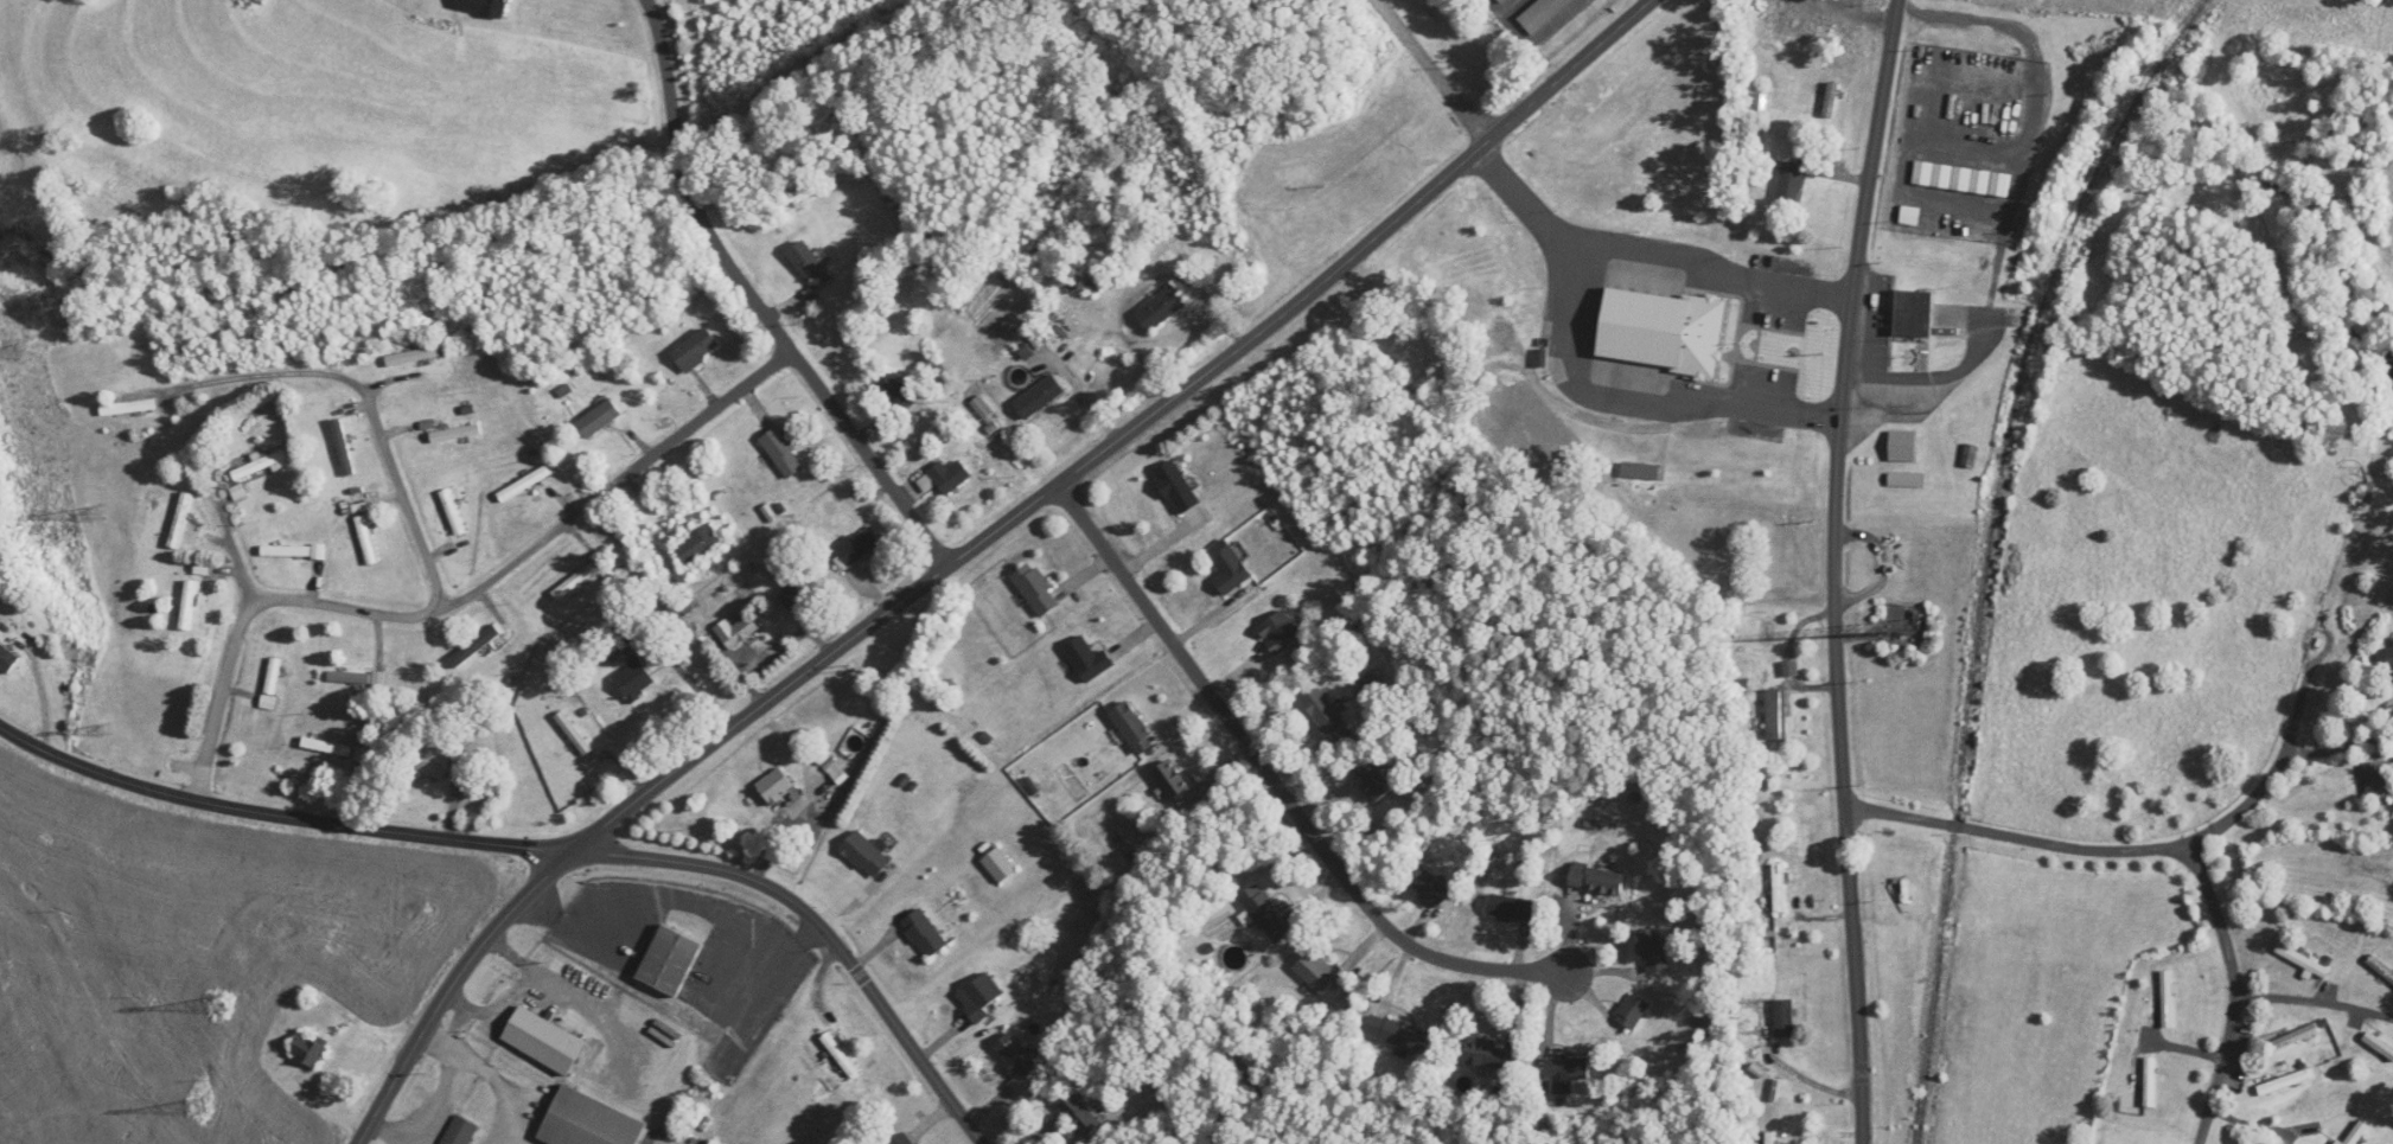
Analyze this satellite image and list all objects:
building: (1500, 1)
building: (494, 8)
building: (1542, 14)
building: (1798, 28)
road: (1438, 69)
building: (1789, 184)
road: (2012, 197)
road: (1649, 253)
building: (810, 266)
road: (758, 300)
building: (1162, 308)
building: (1910, 315)
building: (1659, 331)
building: (697, 350)
power tower: (11, 353)
building: (414, 357)
road: (250, 384)
road: (1079, 391)
building: (896, 394)
building: (1040, 397)
road: (1631, 407)
building: (127, 408)
road: (707, 415)
building: (599, 418)
building: (455, 434)
building: (343, 447)
building: (784, 452)
building: (738, 455)
building: (1968, 455)
building: (260, 465)
building: (1639, 471)
building: (945, 478)
building: (1904, 480)
building: (524, 482)
building: (1178, 487)
building: (2368, 491)
building: (453, 512)
building: (180, 519)
building: (366, 539)
road: (975, 545)
building: (859, 547)
building: (293, 551)
building: (1227, 567)
building: (202, 568)
road: (508, 568)
road: (1836, 569)
building: (579, 575)
building: (1038, 589)
building: (802, 592)
building: (189, 605)
road: (420, 605)
building: (1278, 631)
building: (738, 632)
building: (474, 645)
road: (216, 656)
building: (1086, 658)
building: (2389, 658)
building: (7, 659)
building: (350, 678)
building: (636, 679)
building: (272, 683)
building: (1775, 715)
building: (1327, 716)
power tower: (104, 727)
building: (1131, 727)
building: (327, 747)
building: (434, 762)
building: (1170, 780)
road: (2266, 780)
building: (1372, 781)
building: (2378, 781)
building: (778, 785)
road: (1276, 788)
road: (1961, 824)
road: (545, 848)
building: (866, 854)
building: (998, 863)
building: (1595, 878)
building: (1427, 886)
building: (1779, 888)
building: (1510, 908)
building: (1265, 913)
building: (924, 932)
road: (2226, 940)
building: (1652, 950)
building: (671, 960)
building: (2381, 967)
building: (1319, 971)
building: (978, 996)
building: (2168, 998)
power tower: (218, 1004)
building: (1632, 1011)
building: (1783, 1018)
building: (1396, 1033)
building: (2295, 1037)
building: (545, 1041)
building: (2378, 1044)
building: (308, 1049)
building: (840, 1054)
building: (1016, 1054)
building: (1491, 1054)
building: (1565, 1067)
building: (2149, 1081)
building: (2284, 1081)
power tower: (199, 1107)
building: (1080, 1116)
building: (589, 1121)
building: (461, 1131)
building: (1769, 1137)
building: (902, 1138)

